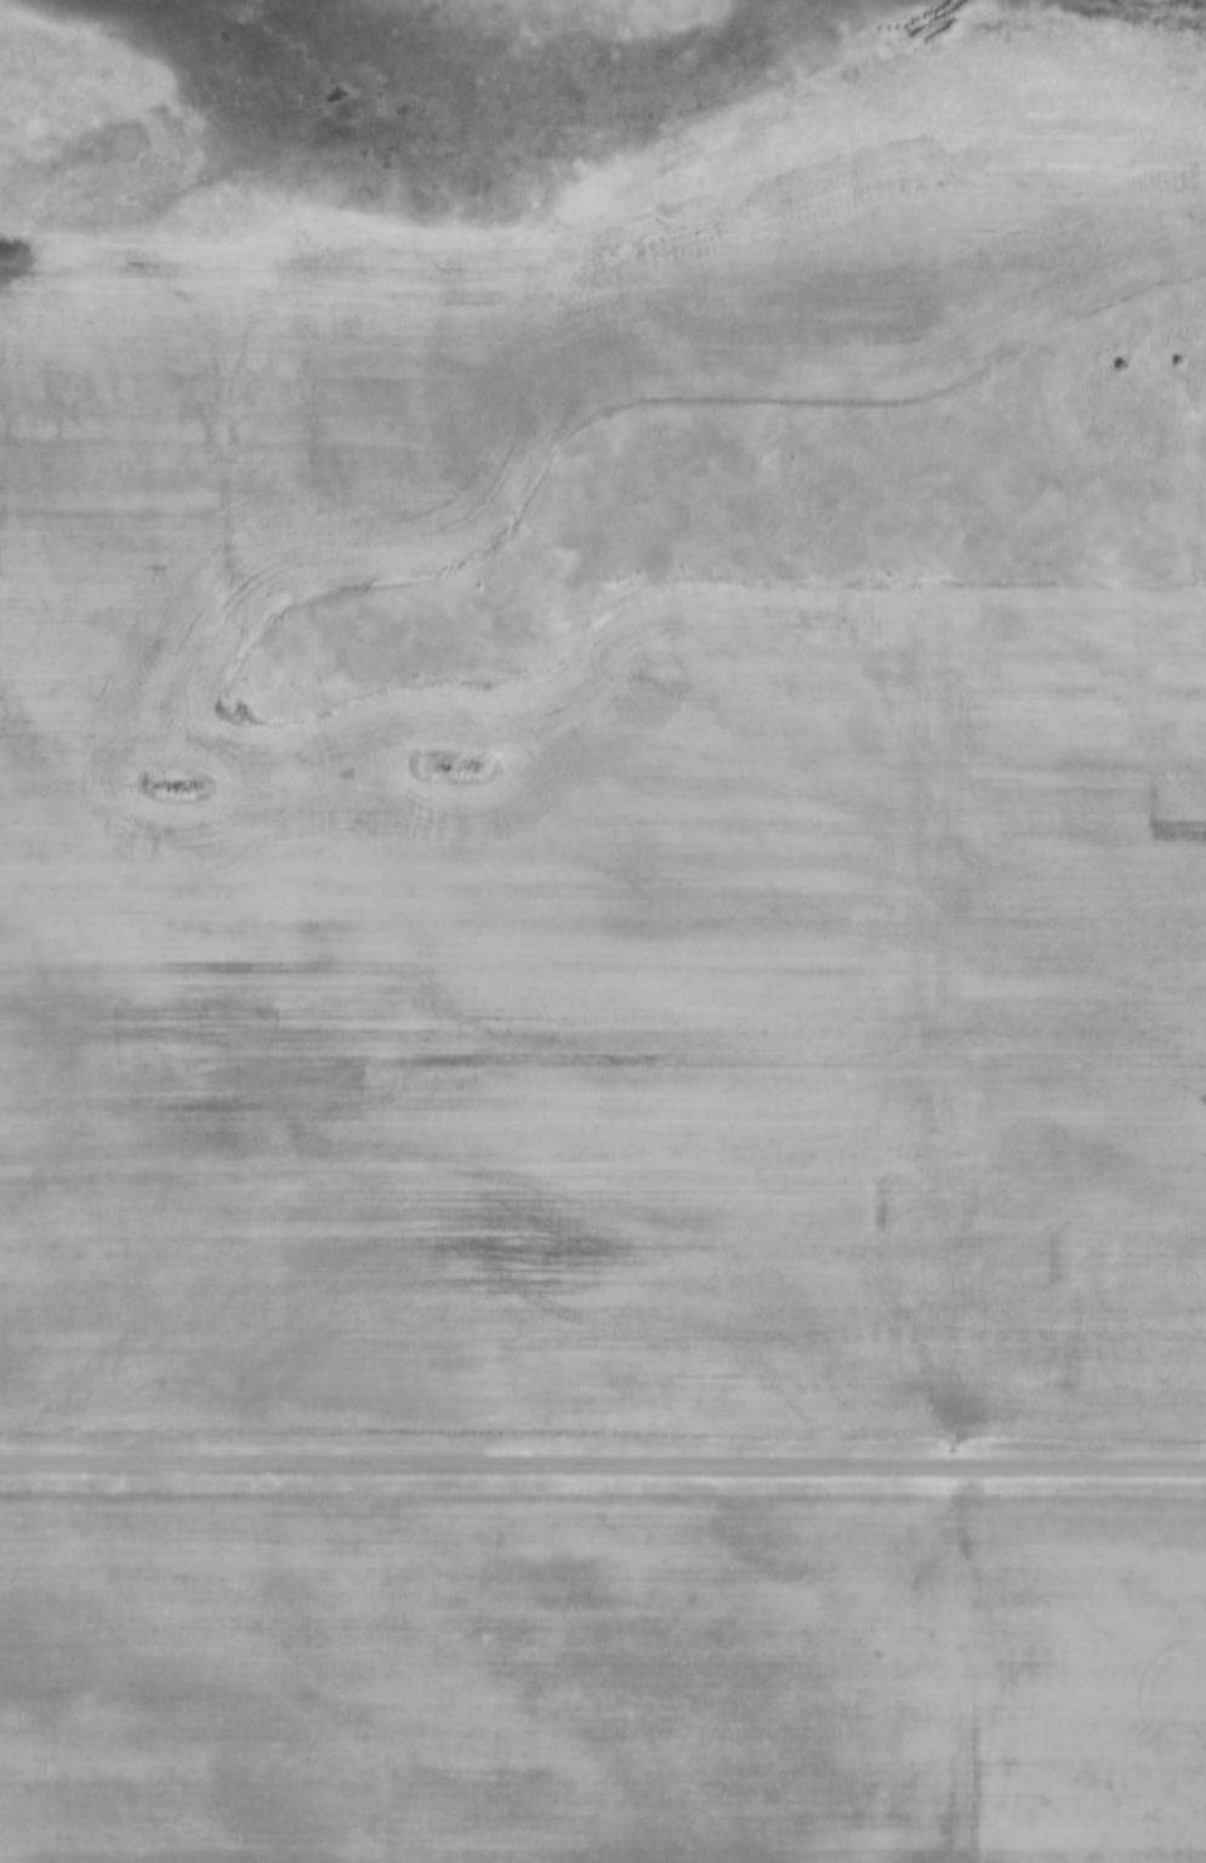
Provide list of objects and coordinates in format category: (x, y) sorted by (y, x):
road: (603, 1464)

